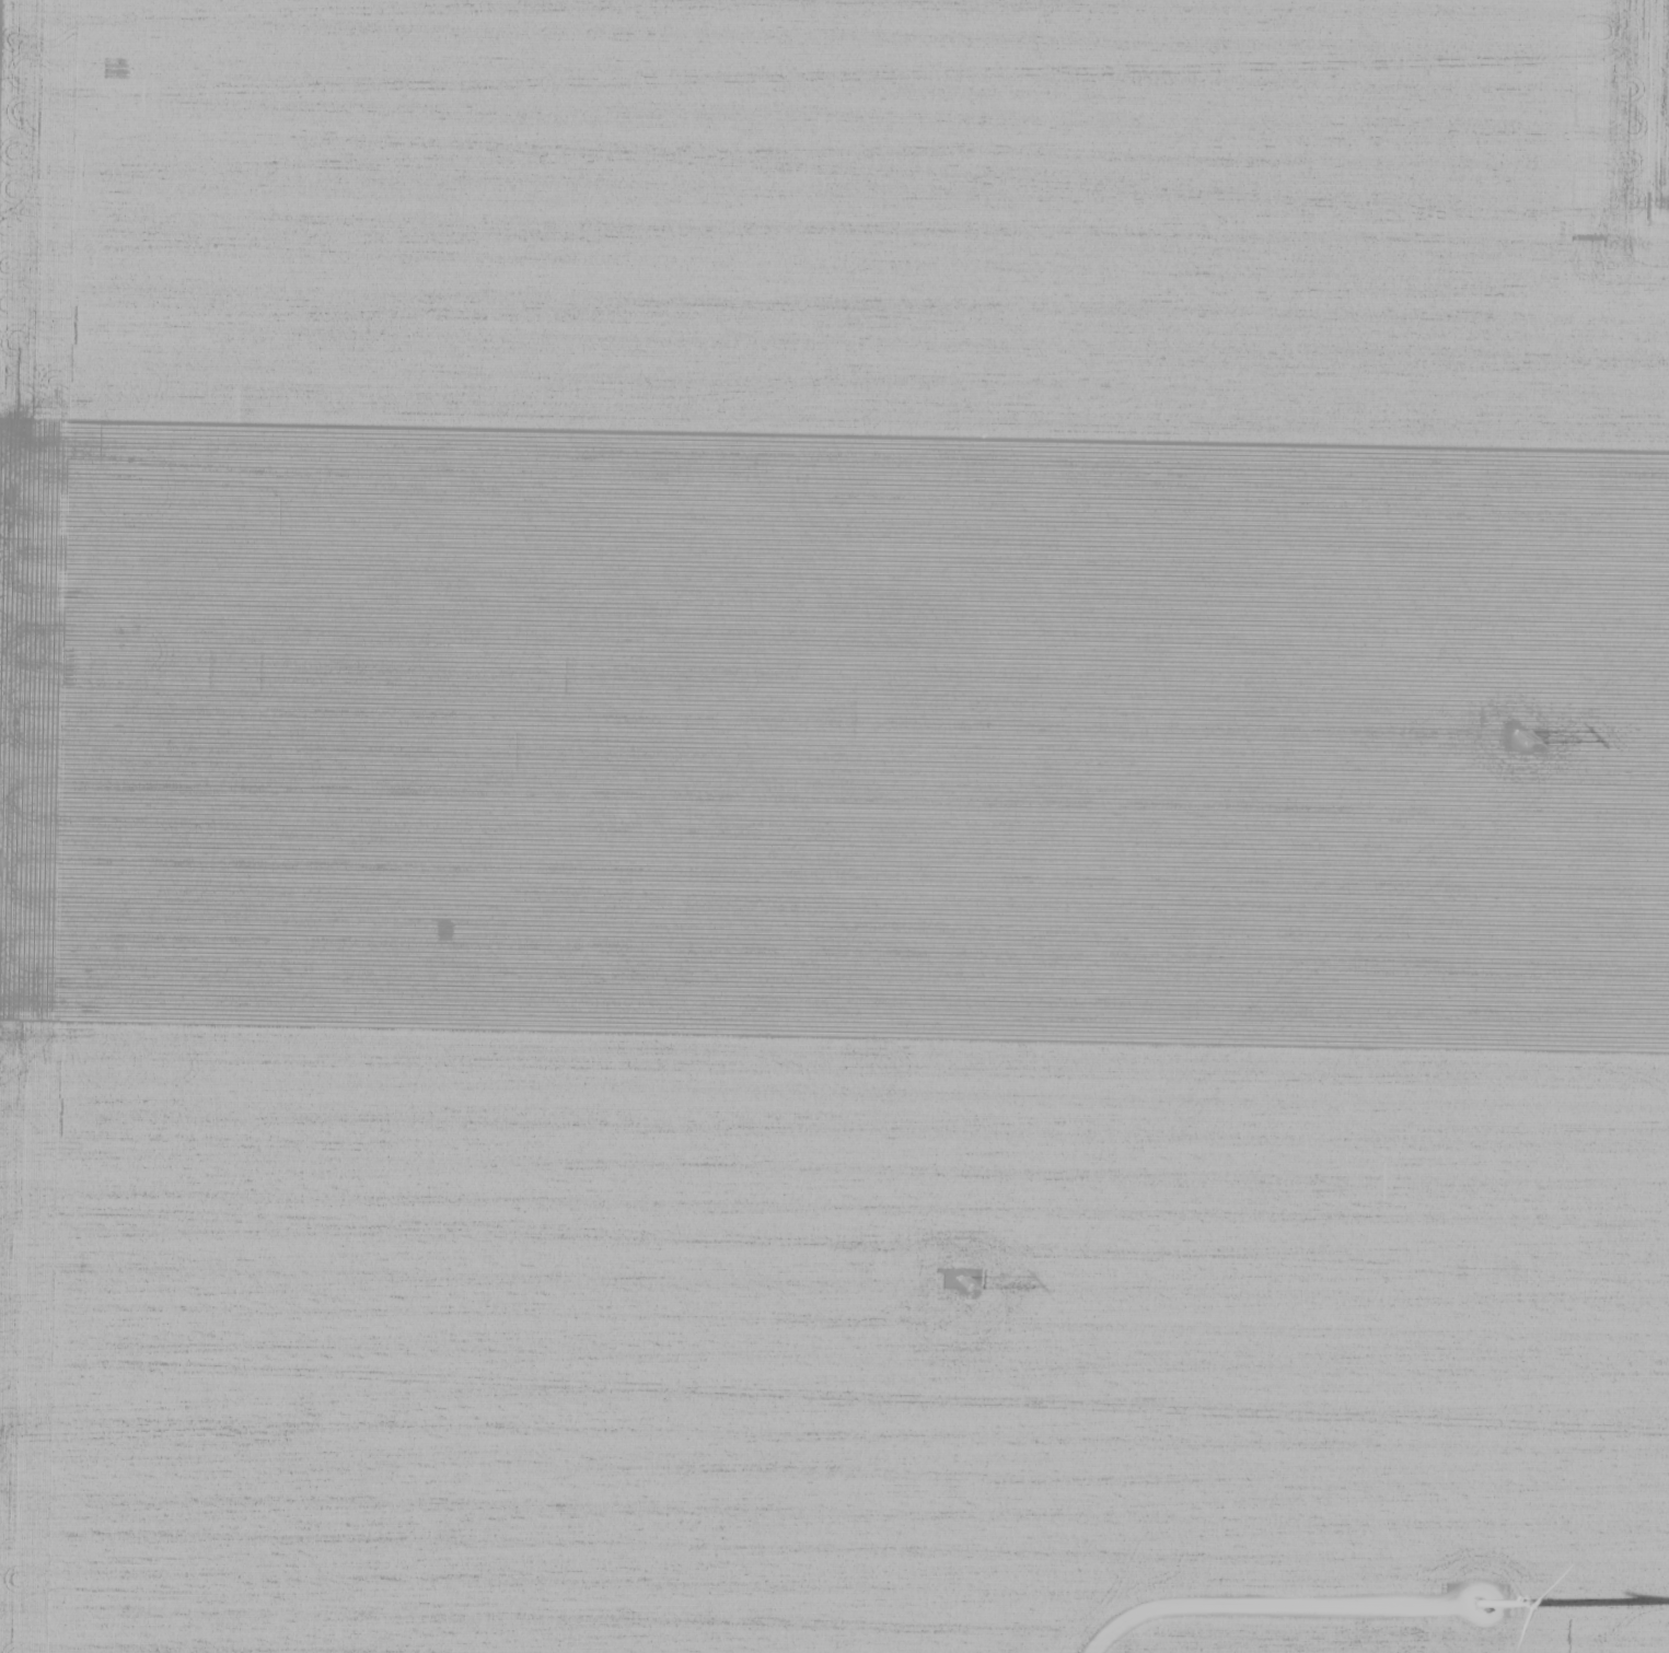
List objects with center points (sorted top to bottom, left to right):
power tower: (1518, 736)
power tower: (963, 1280)
wind turbine: (1484, 1597)

